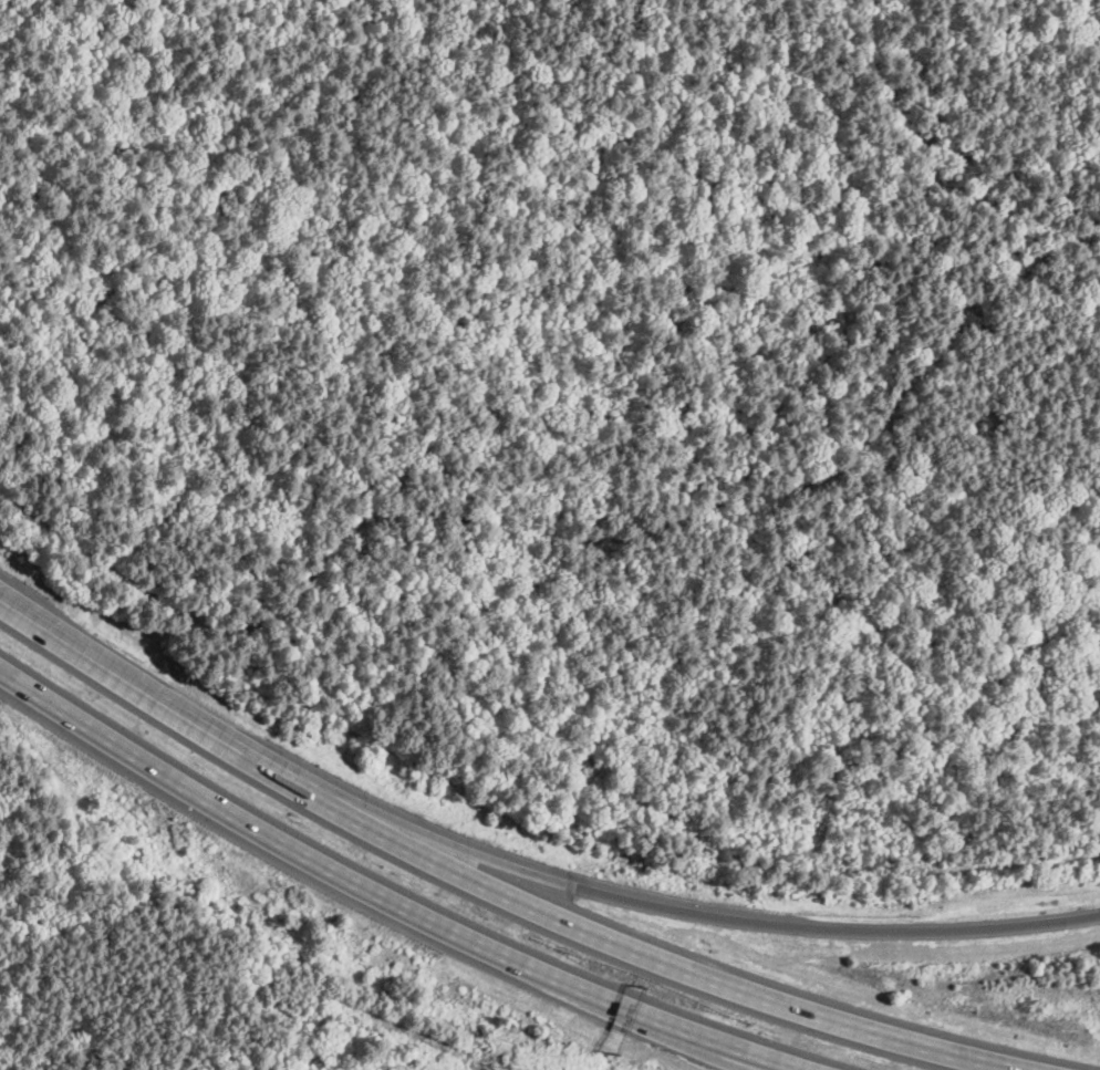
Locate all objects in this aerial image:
road: (499, 889)
road: (387, 904)
road: (706, 914)
road: (717, 1052)

